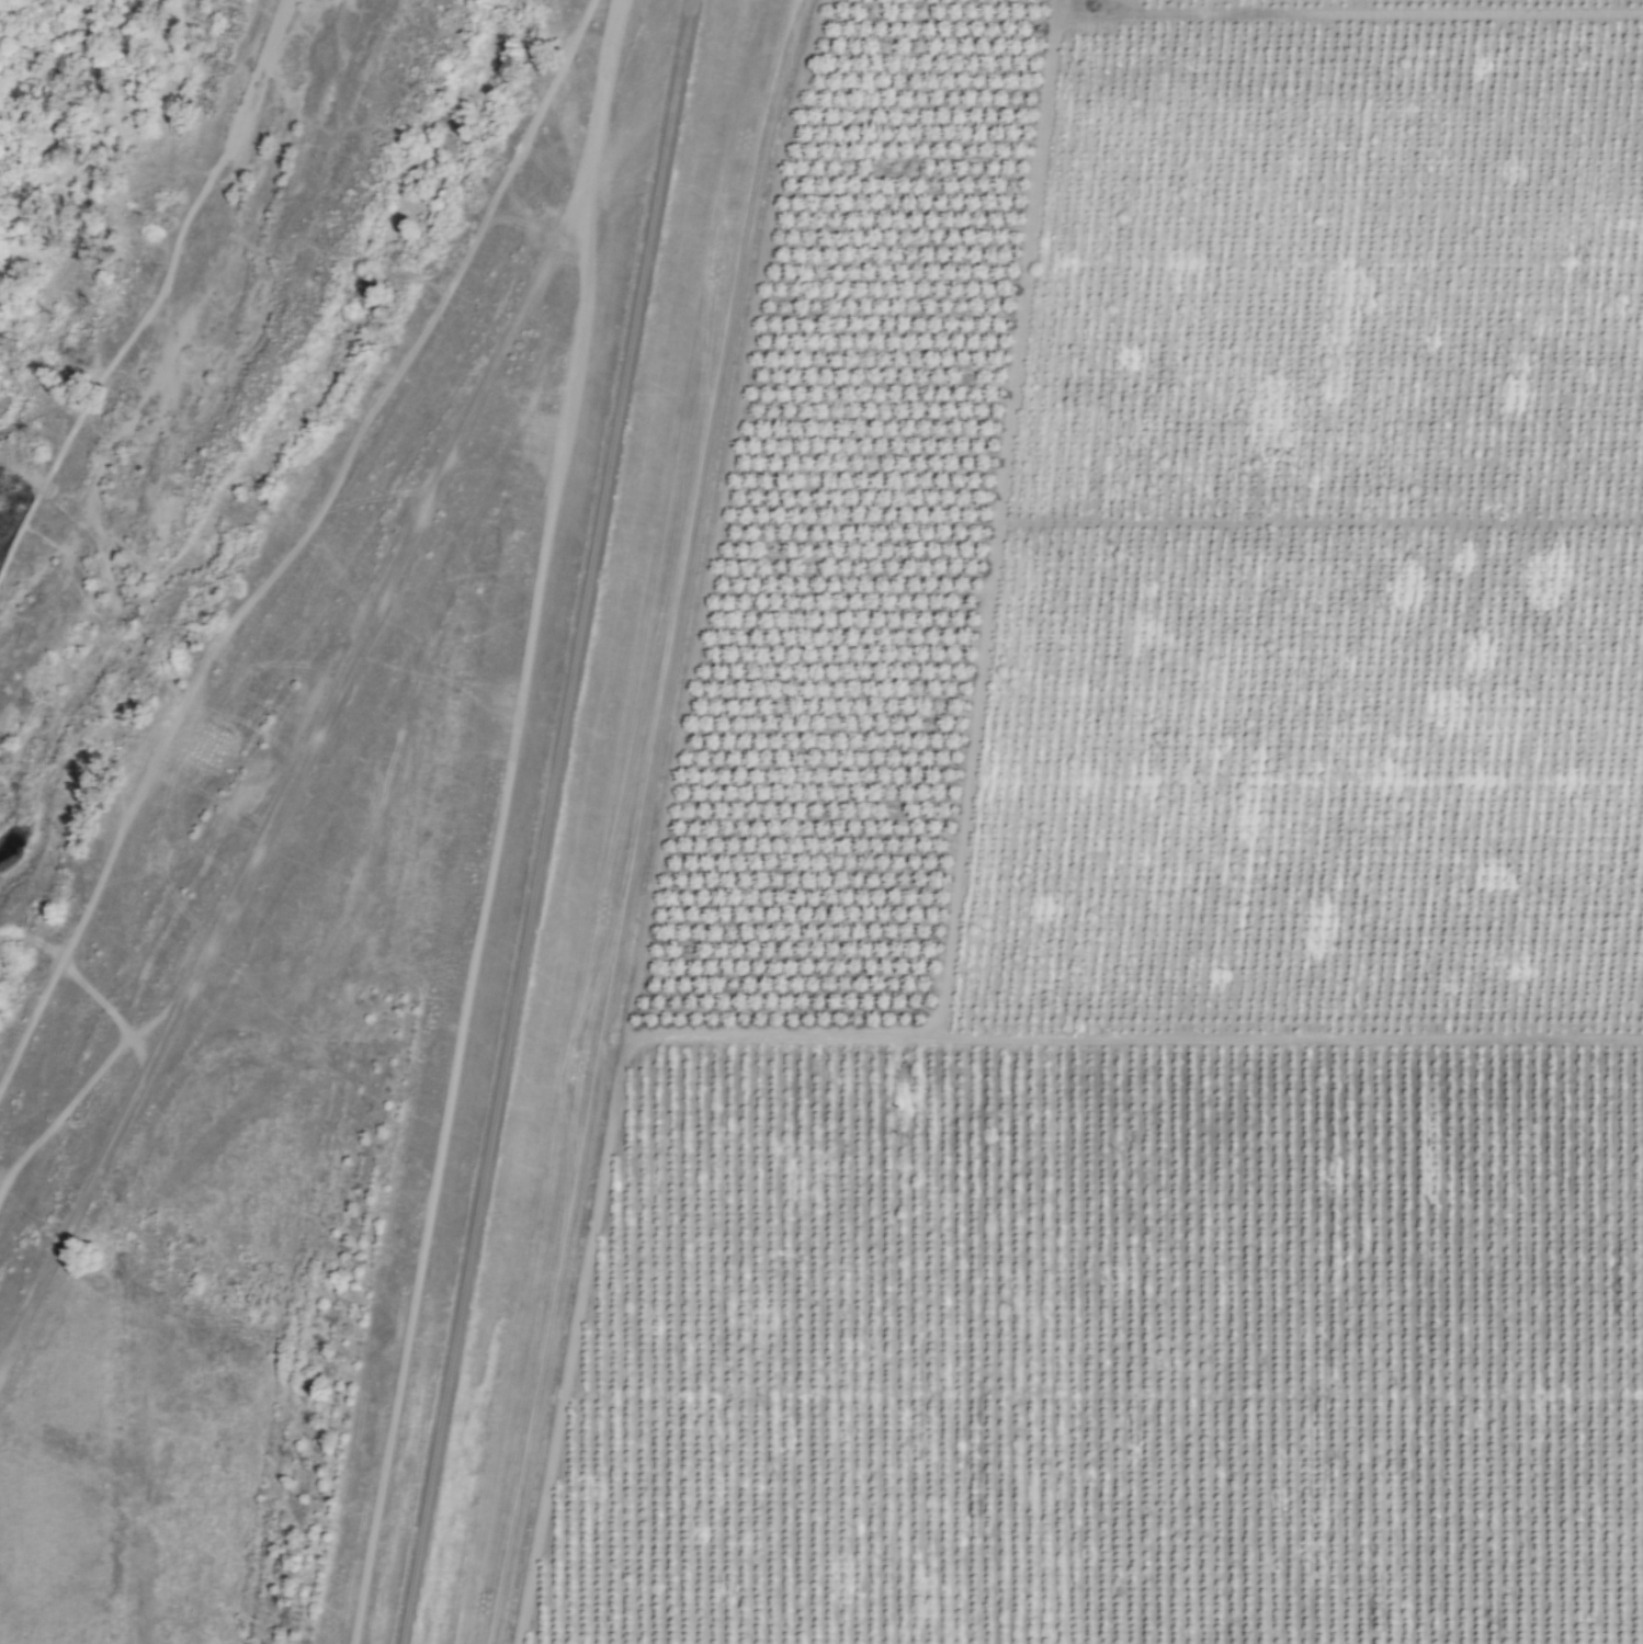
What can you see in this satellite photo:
road: (1344, 5)
road: (343, 570)

